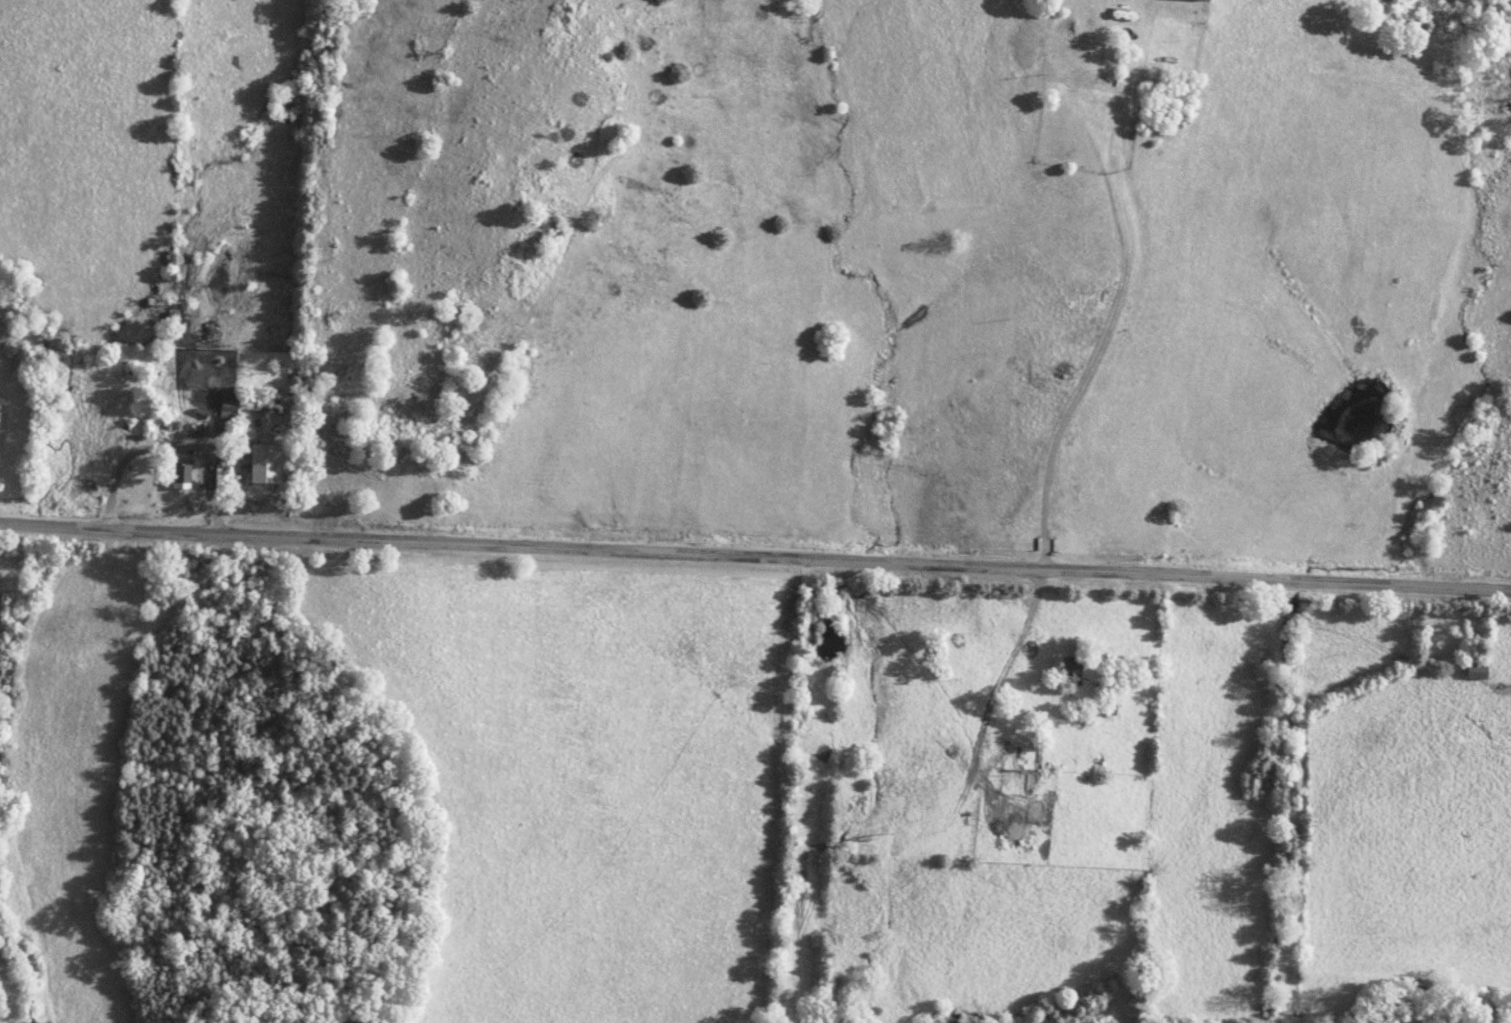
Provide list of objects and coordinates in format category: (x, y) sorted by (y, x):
building: (1088, 44)
building: (1083, 76)
road: (1109, 319)
building: (225, 404)
building: (249, 406)
building: (261, 462)
building: (179, 471)
road: (755, 550)
building: (1068, 670)
building: (1026, 756)

